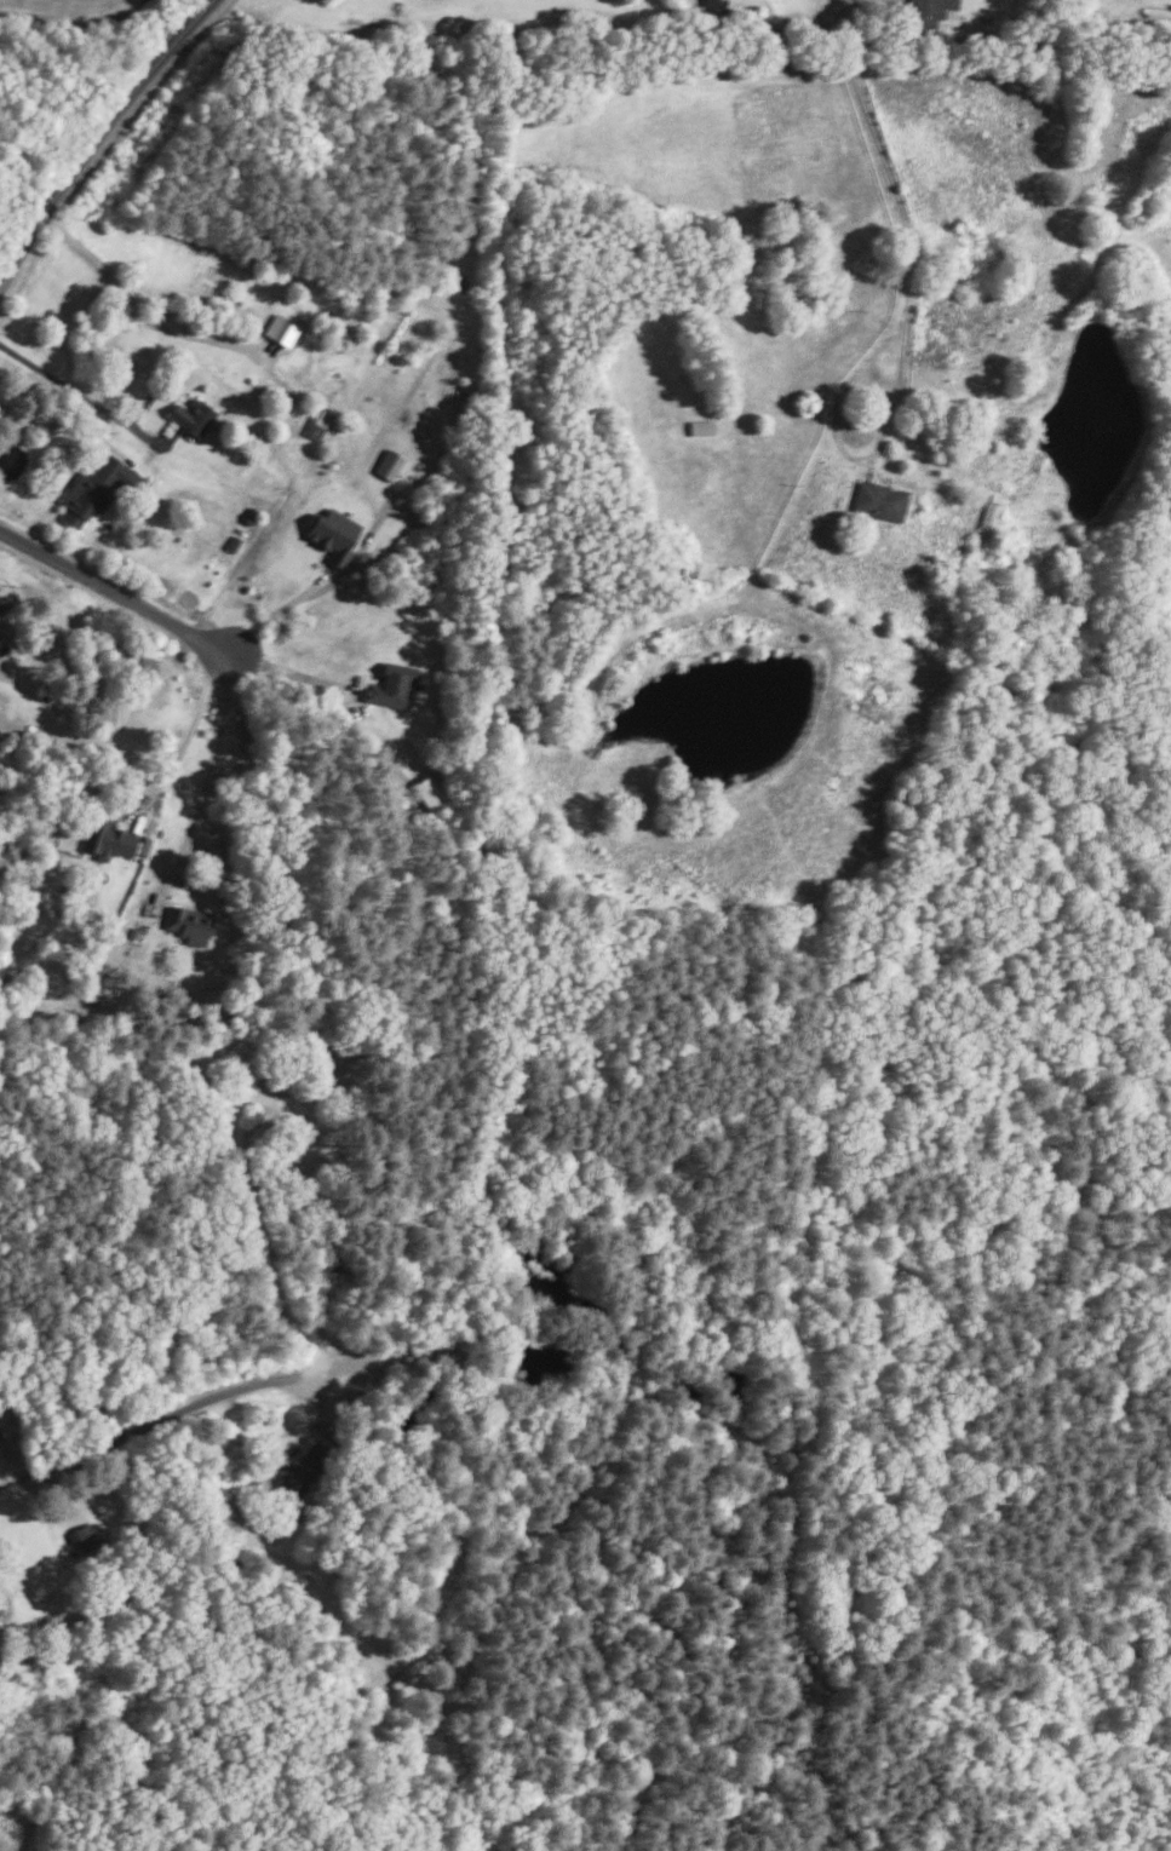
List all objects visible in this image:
road: (848, 2)
building: (928, 11)
road: (93, 136)
road: (142, 303)
building: (281, 329)
road: (905, 339)
road: (78, 390)
building: (195, 416)
road: (45, 422)
building: (316, 422)
building: (700, 426)
building: (389, 464)
building: (98, 487)
building: (879, 501)
building: (988, 516)
building: (333, 533)
road: (114, 580)
building: (2, 605)
road: (280, 609)
road: (288, 671)
building: (391, 684)
road: (189, 726)
road: (211, 770)
building: (108, 839)
building: (188, 922)
road: (264, 1240)
road: (149, 1424)
building: (304, 1467)
building: (85, 1537)
building: (0, 1598)

